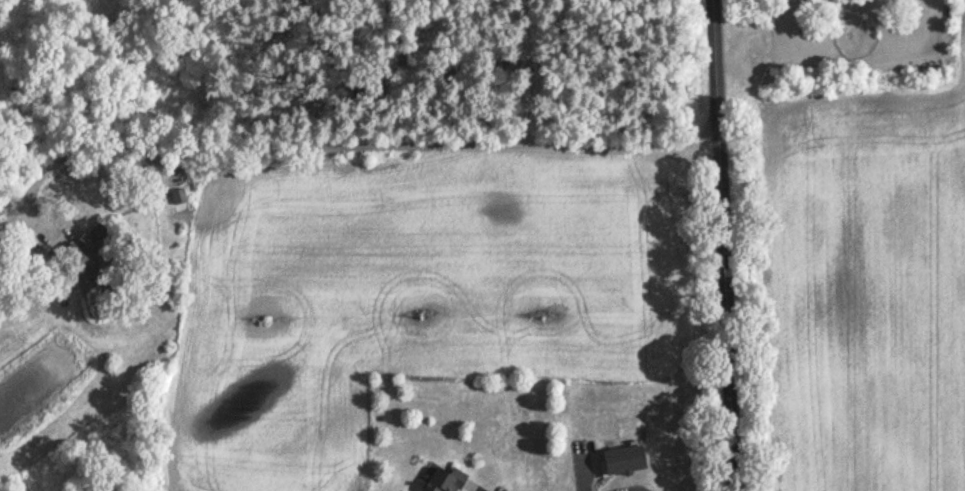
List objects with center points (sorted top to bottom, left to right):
road: (345, 146)
road: (727, 245)
building: (98, 251)
road: (579, 466)
building: (449, 481)

